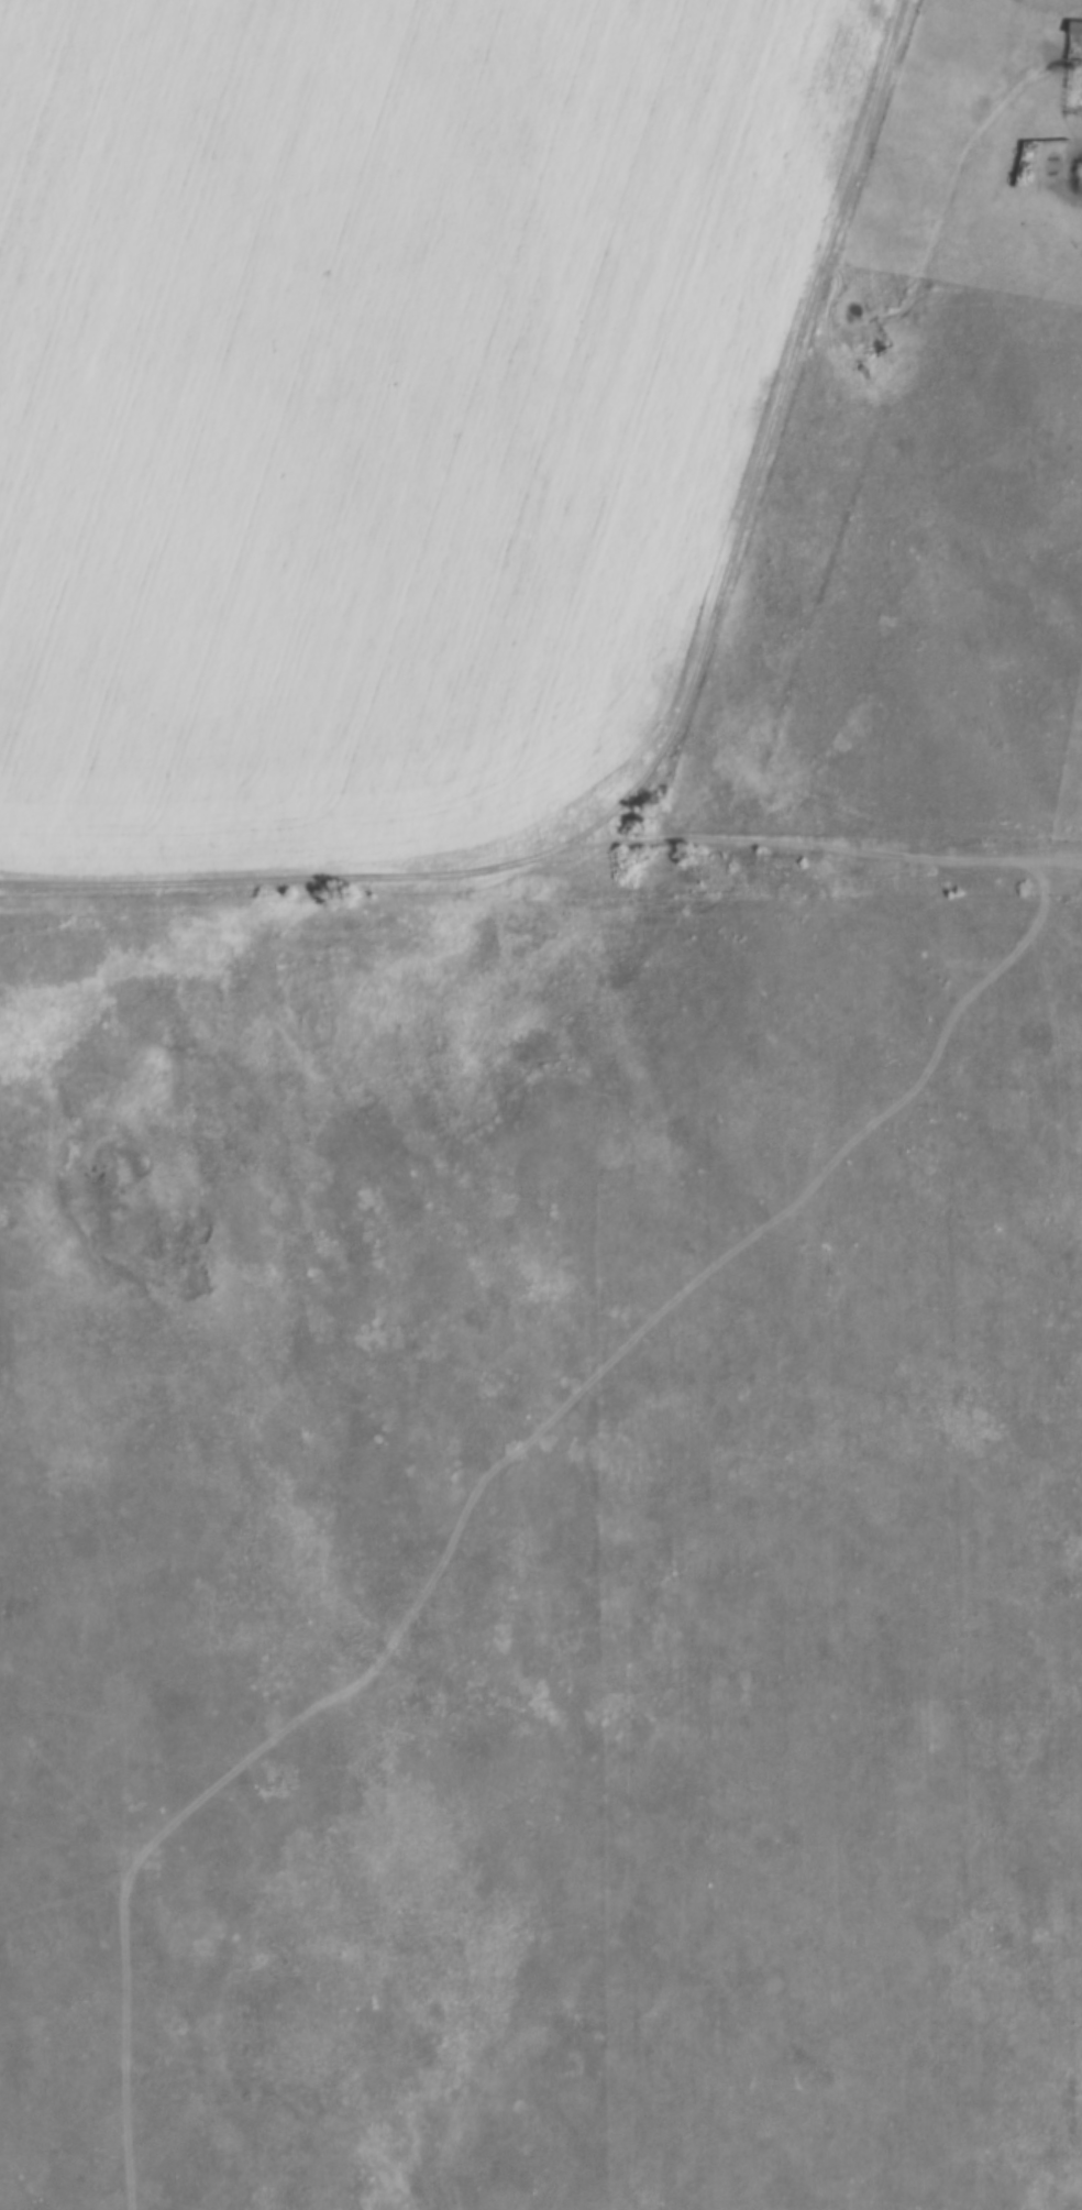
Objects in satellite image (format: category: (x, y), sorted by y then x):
building: (1075, 28)
road: (680, 713)
road: (807, 858)

